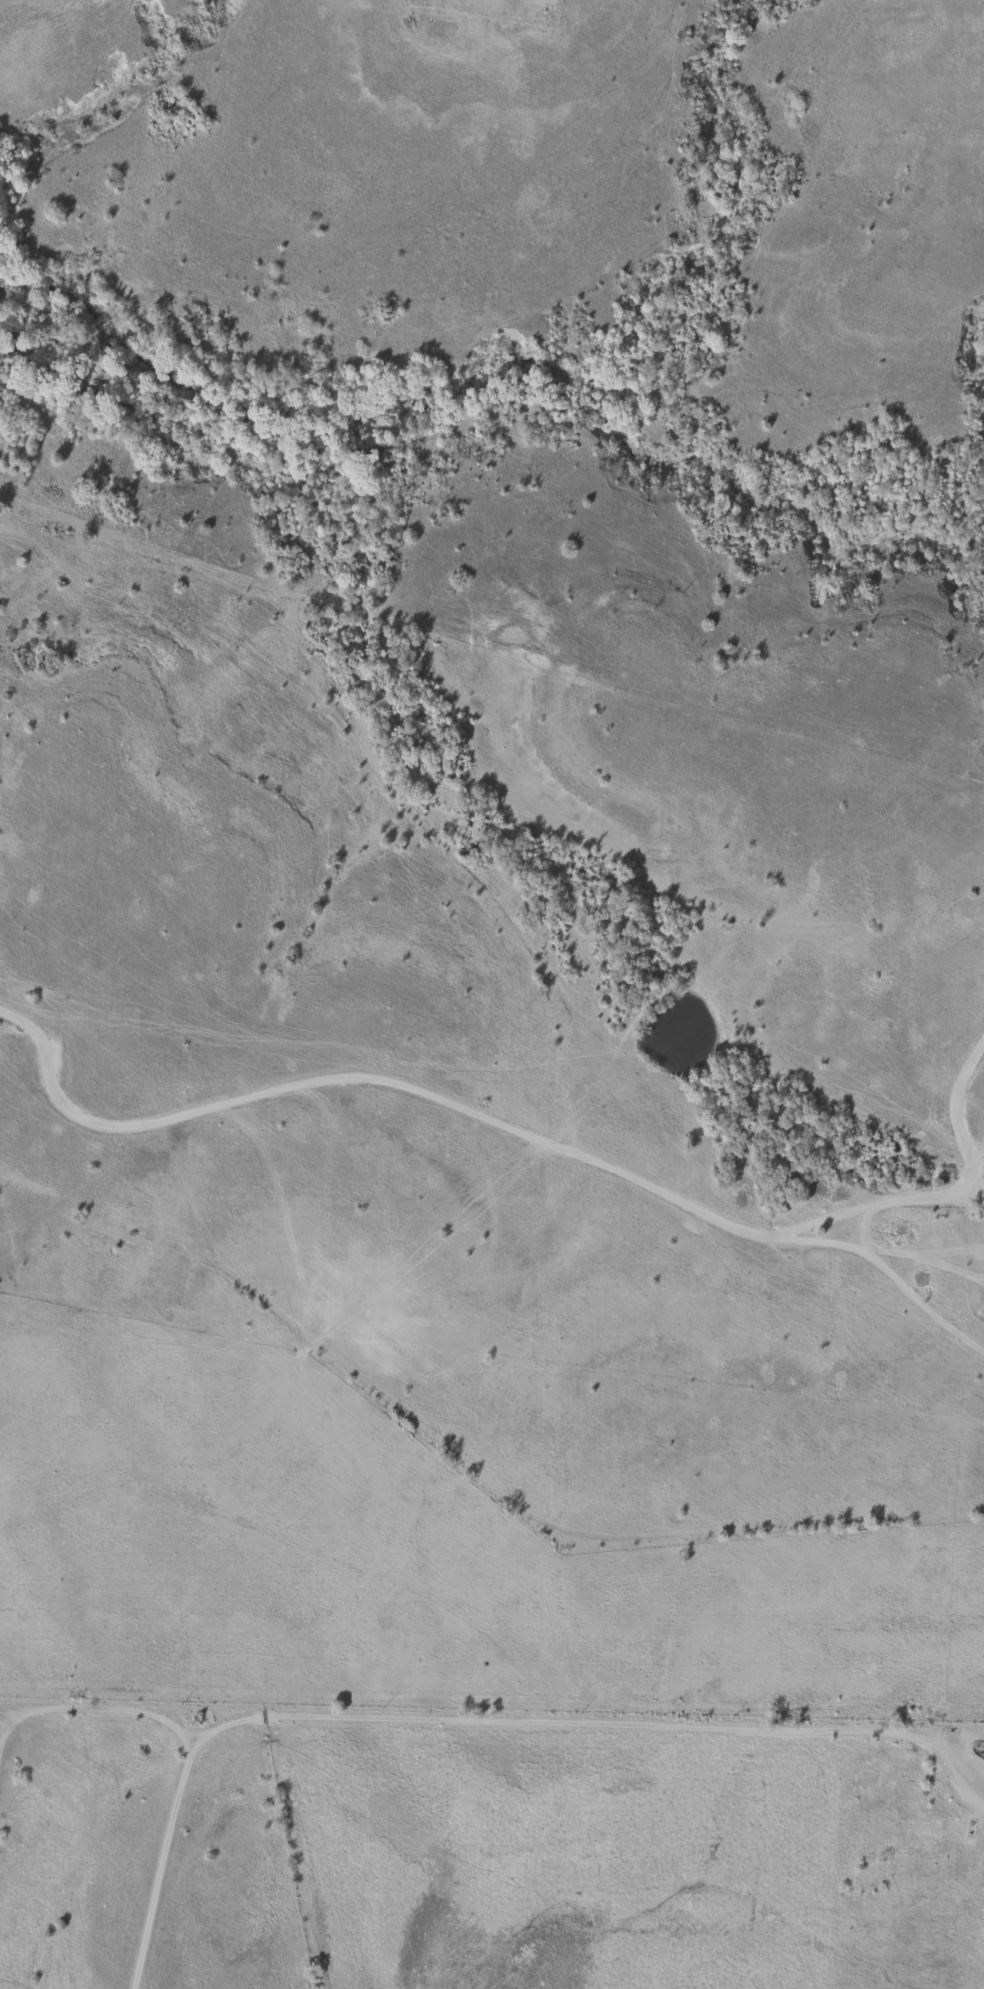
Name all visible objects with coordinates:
road: (531, 1125)
road: (823, 1241)
road: (905, 1291)
road: (468, 1719)

